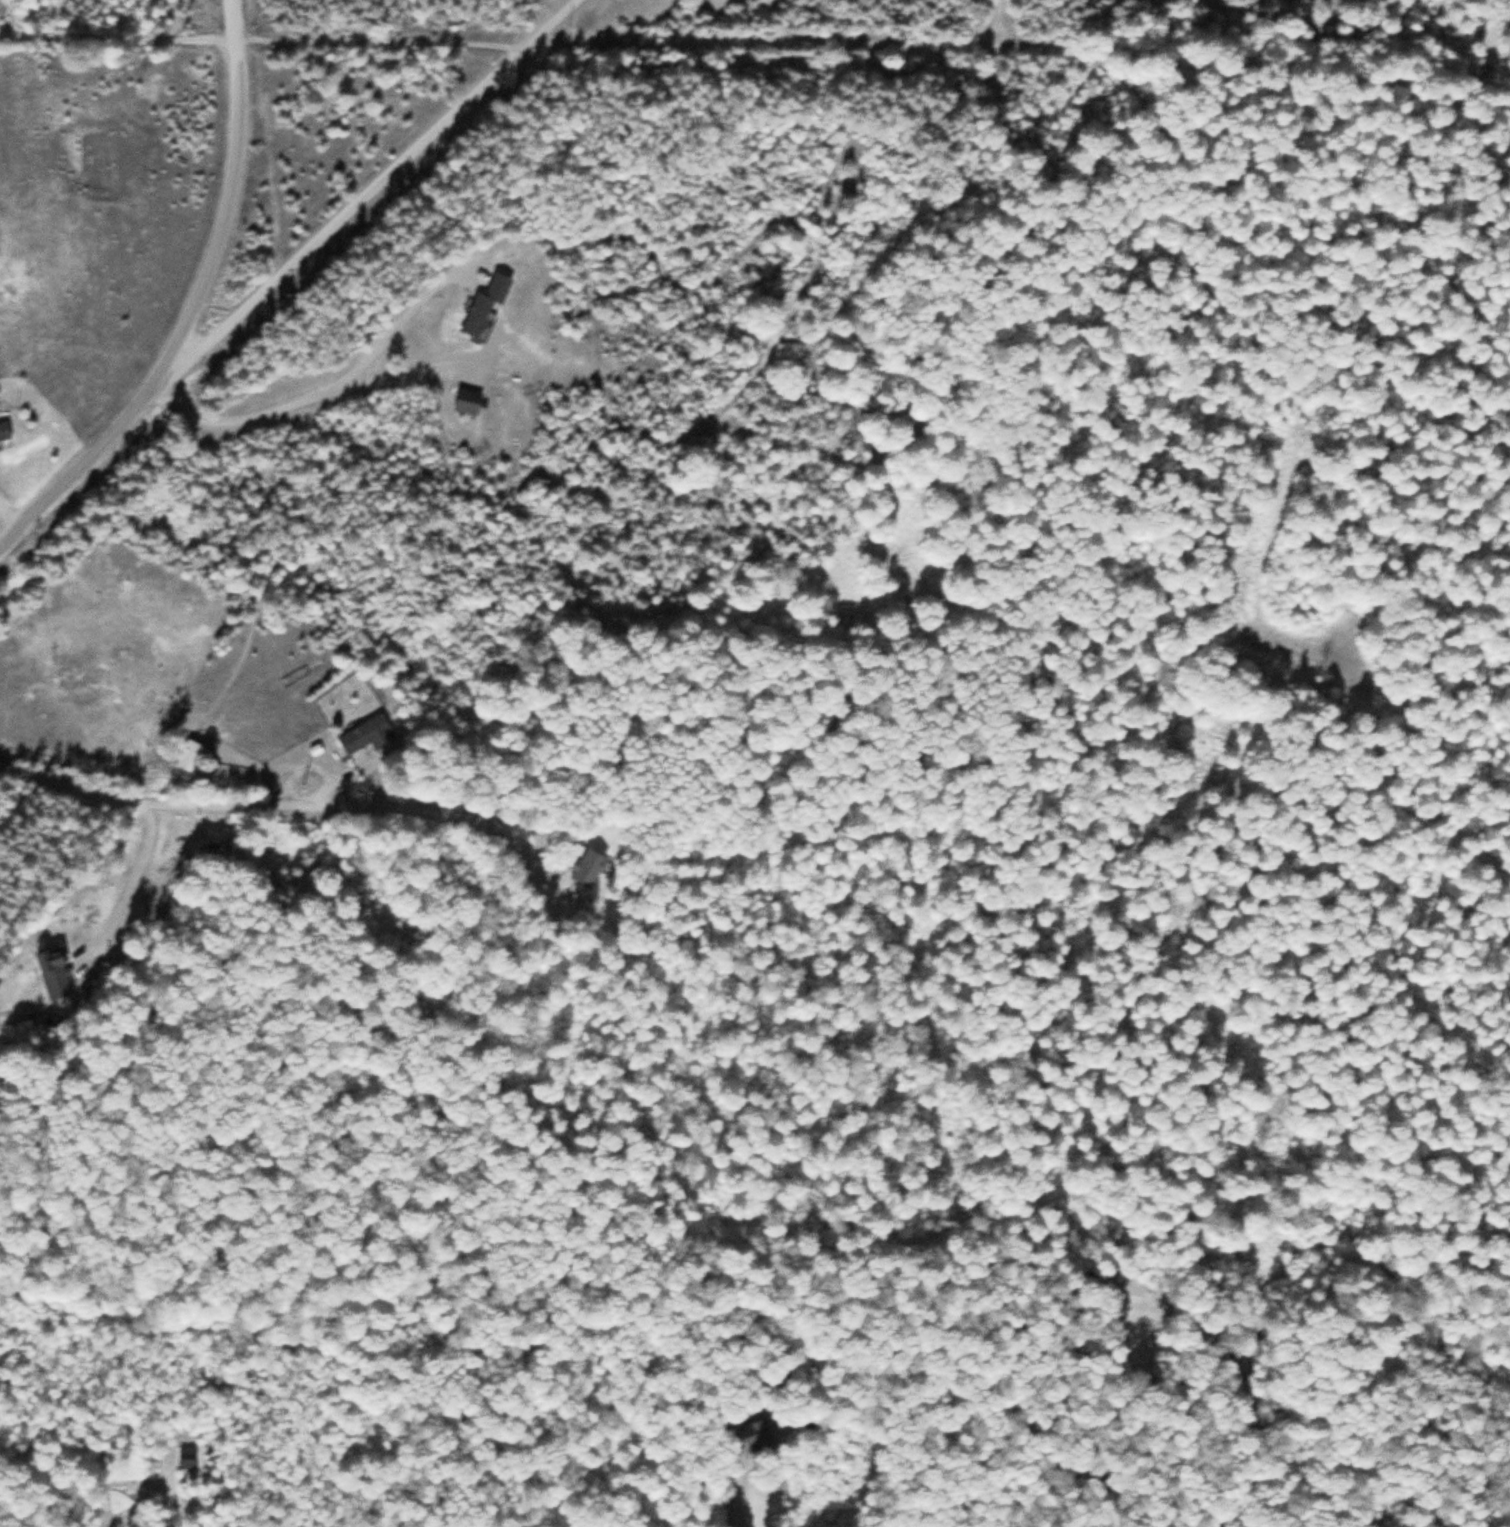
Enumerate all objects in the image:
road: (232, 20)
road: (549, 23)
road: (986, 26)
road: (755, 46)
road: (237, 60)
building: (103, 163)
road: (334, 223)
building: (485, 303)
road: (178, 337)
building: (467, 401)
building: (4, 431)
building: (160, 596)
road: (1293, 734)
building: (365, 735)
building: (190, 756)
building: (587, 868)
building: (53, 973)
building: (756, 1436)
building: (186, 1458)
road: (1334, 1458)

